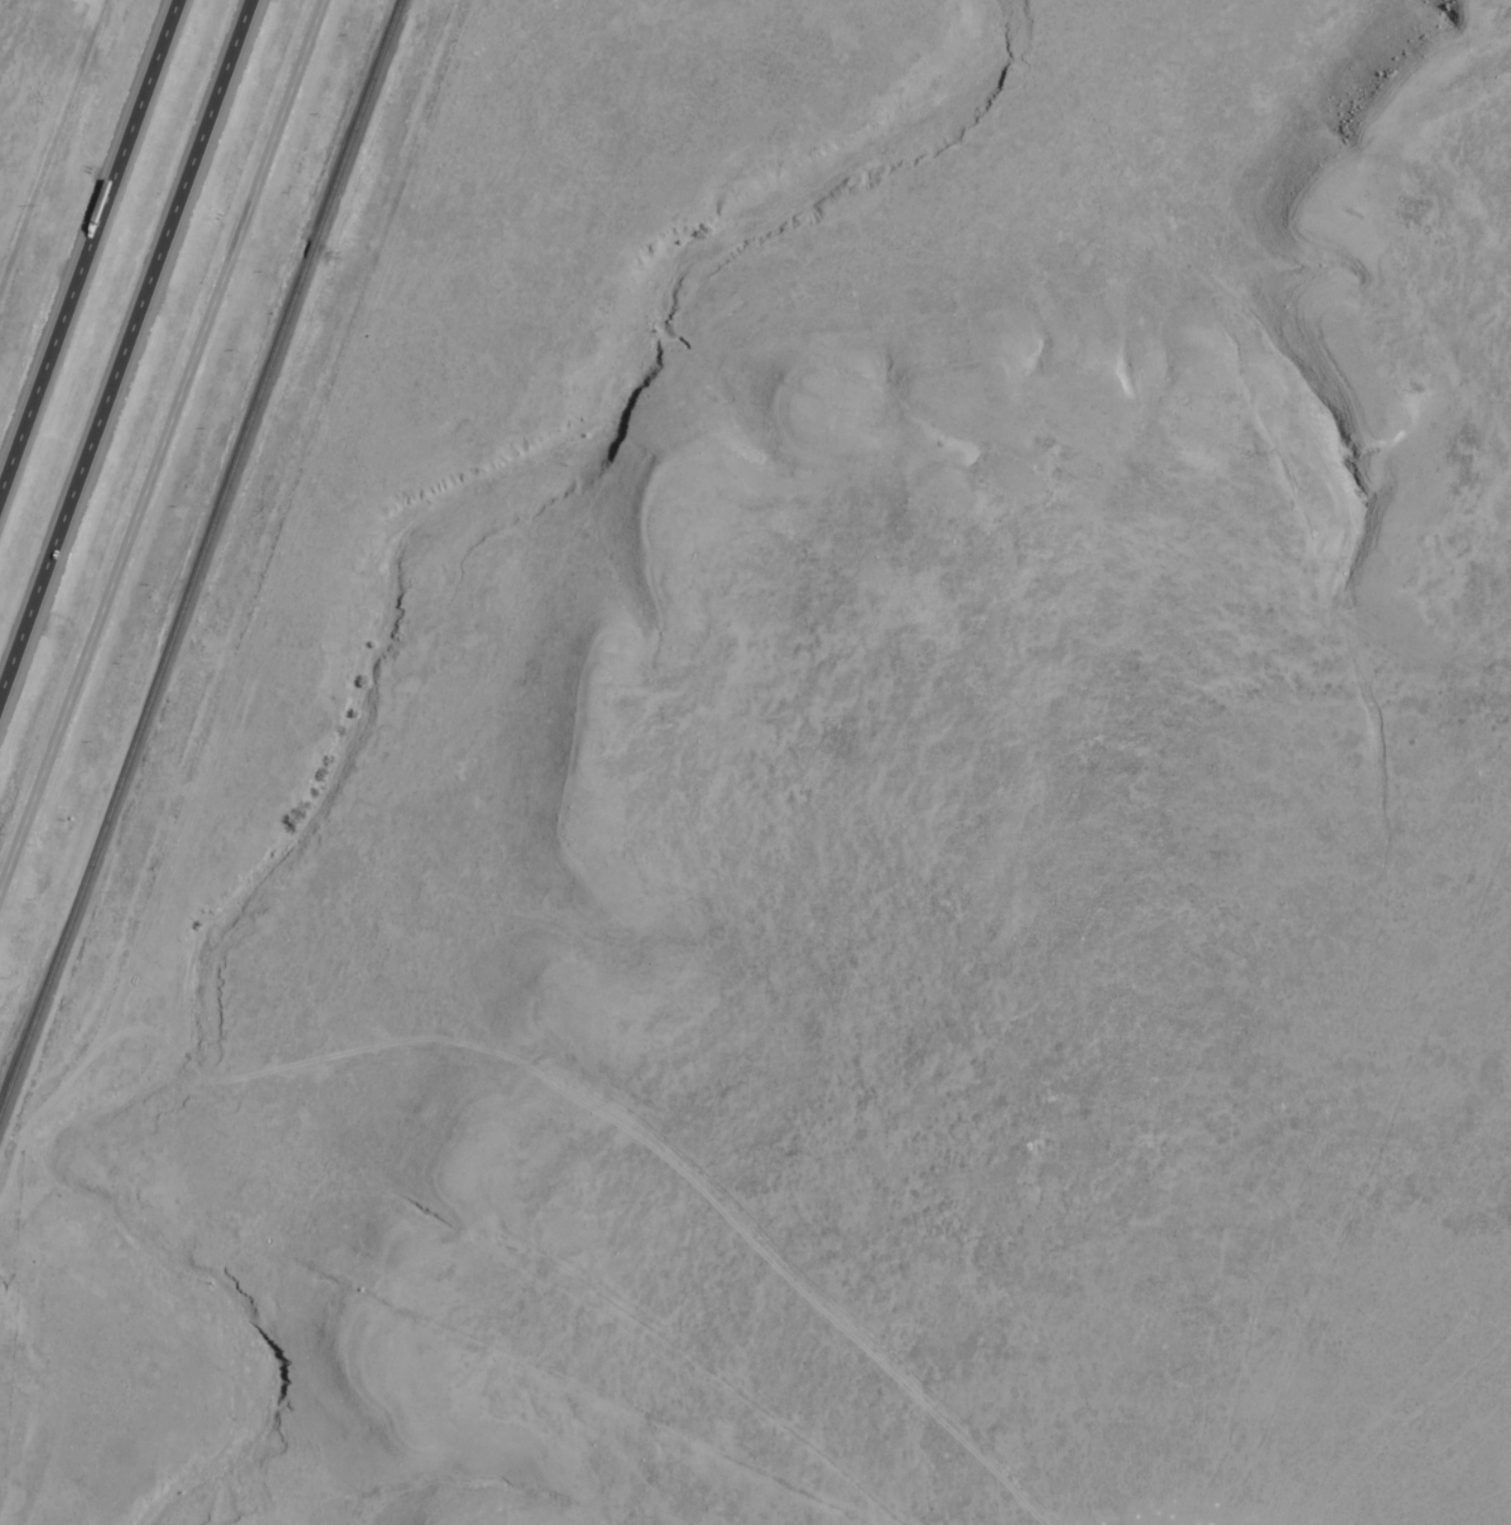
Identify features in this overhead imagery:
railway: (358, 122)
road: (86, 240)
railway: (310, 254)
road: (127, 354)
road: (160, 451)
railway: (152, 690)
road: (450, 1239)

